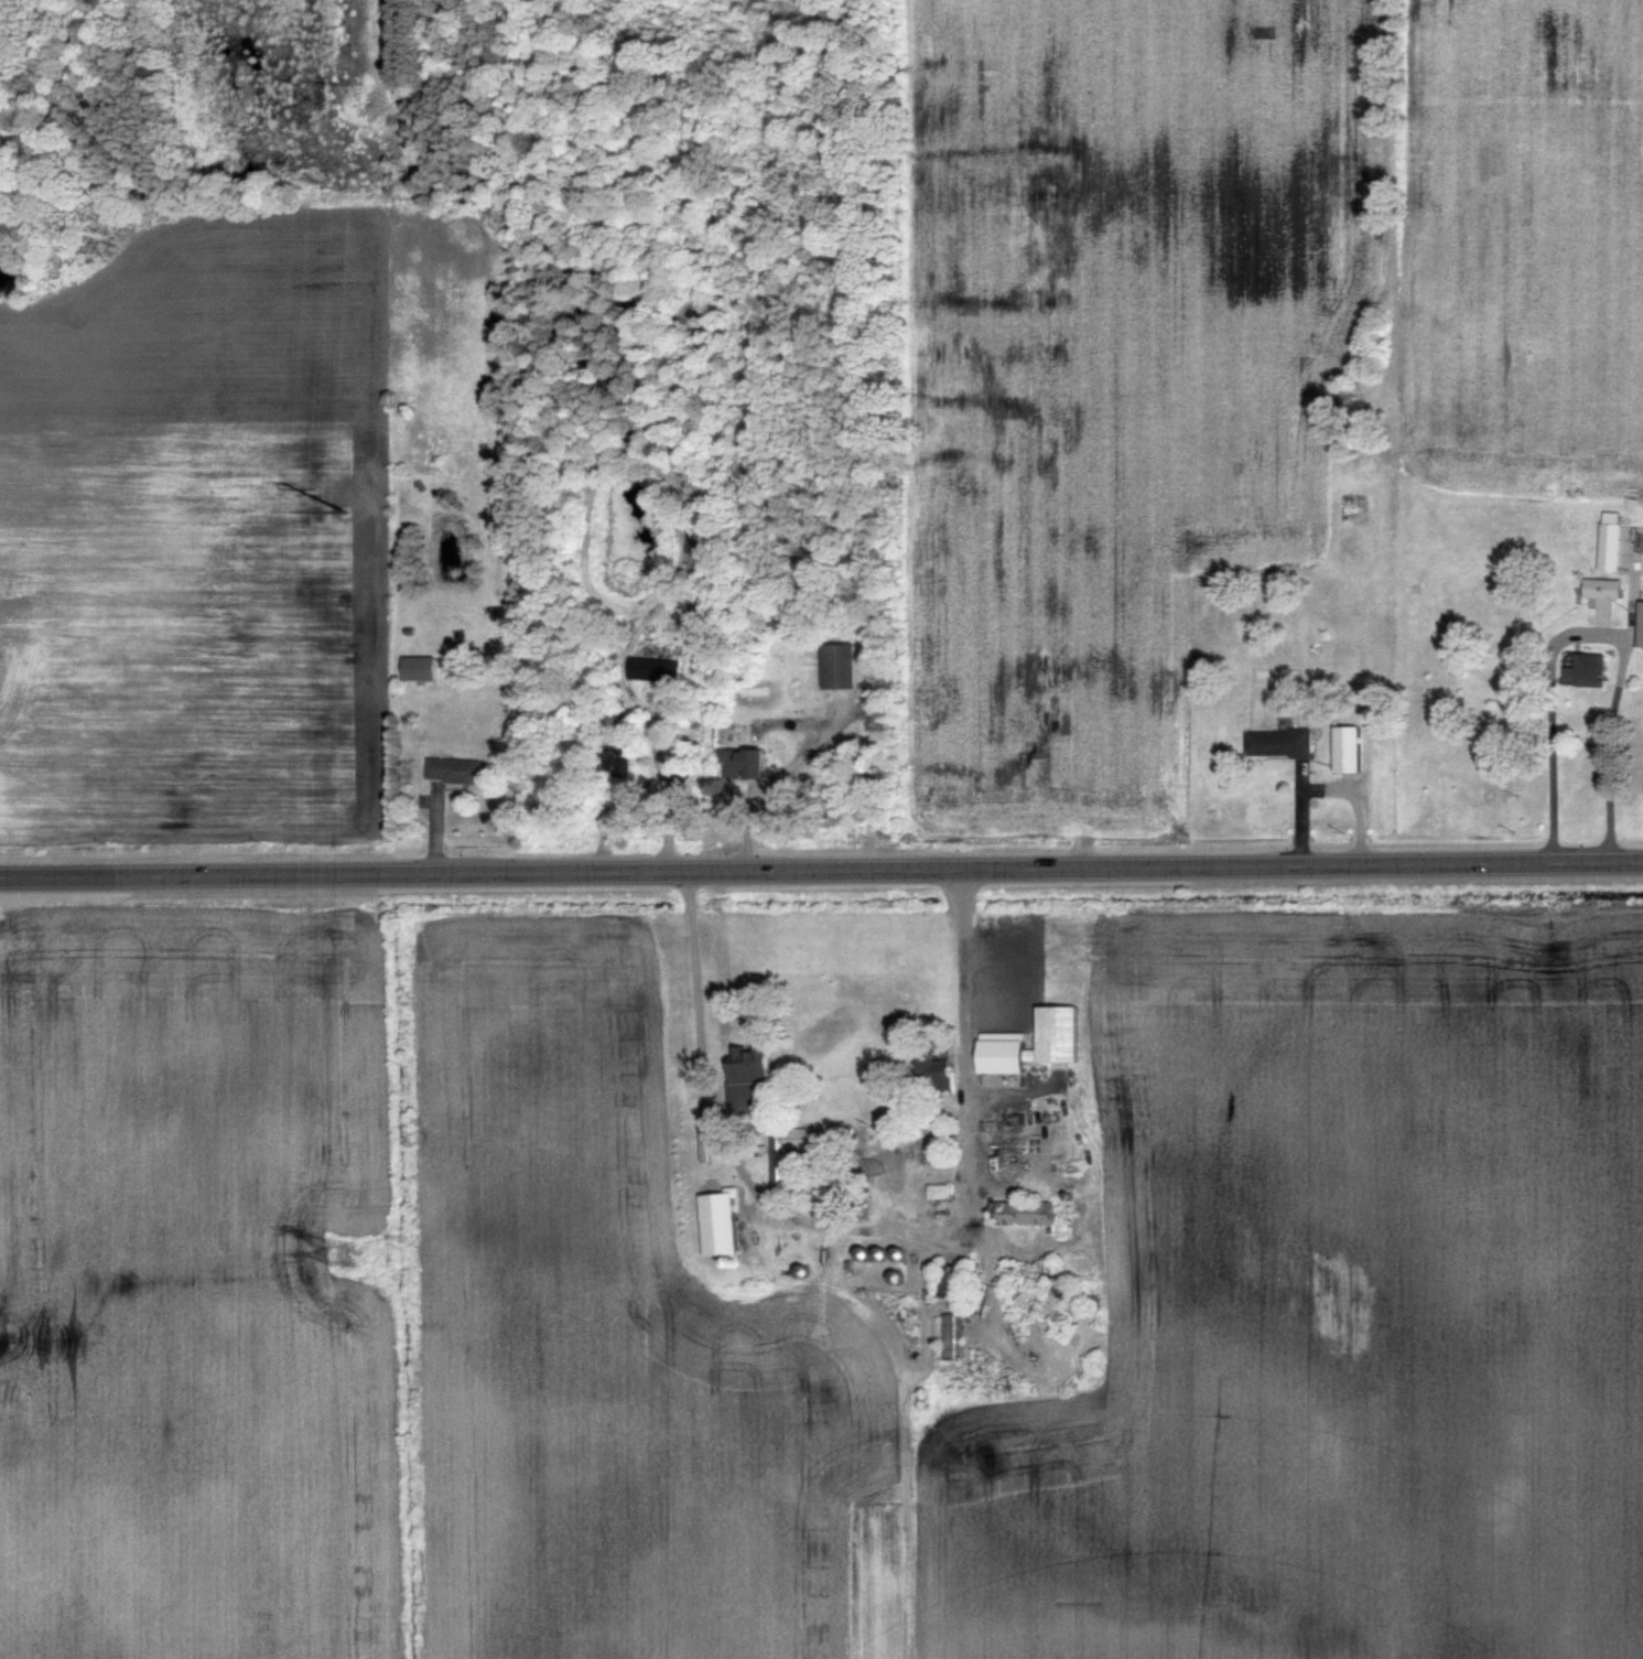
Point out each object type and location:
power tower: (348, 492)
building: (1608, 541)
building: (1600, 588)
building: (1640, 625)
road: (1590, 632)
building: (836, 666)
building: (415, 667)
building: (651, 669)
building: (1585, 670)
building: (1276, 742)
road: (797, 748)
building: (1344, 748)
building: (614, 762)
building: (738, 763)
building: (452, 769)
road: (653, 789)
road: (821, 864)
building: (998, 1039)
building: (931, 1070)
building: (744, 1076)
building: (785, 1151)
building: (937, 1189)
building: (1019, 1211)
building: (715, 1220)
road: (869, 1229)
power tower: (342, 1253)
building: (945, 1280)
building: (950, 1335)

